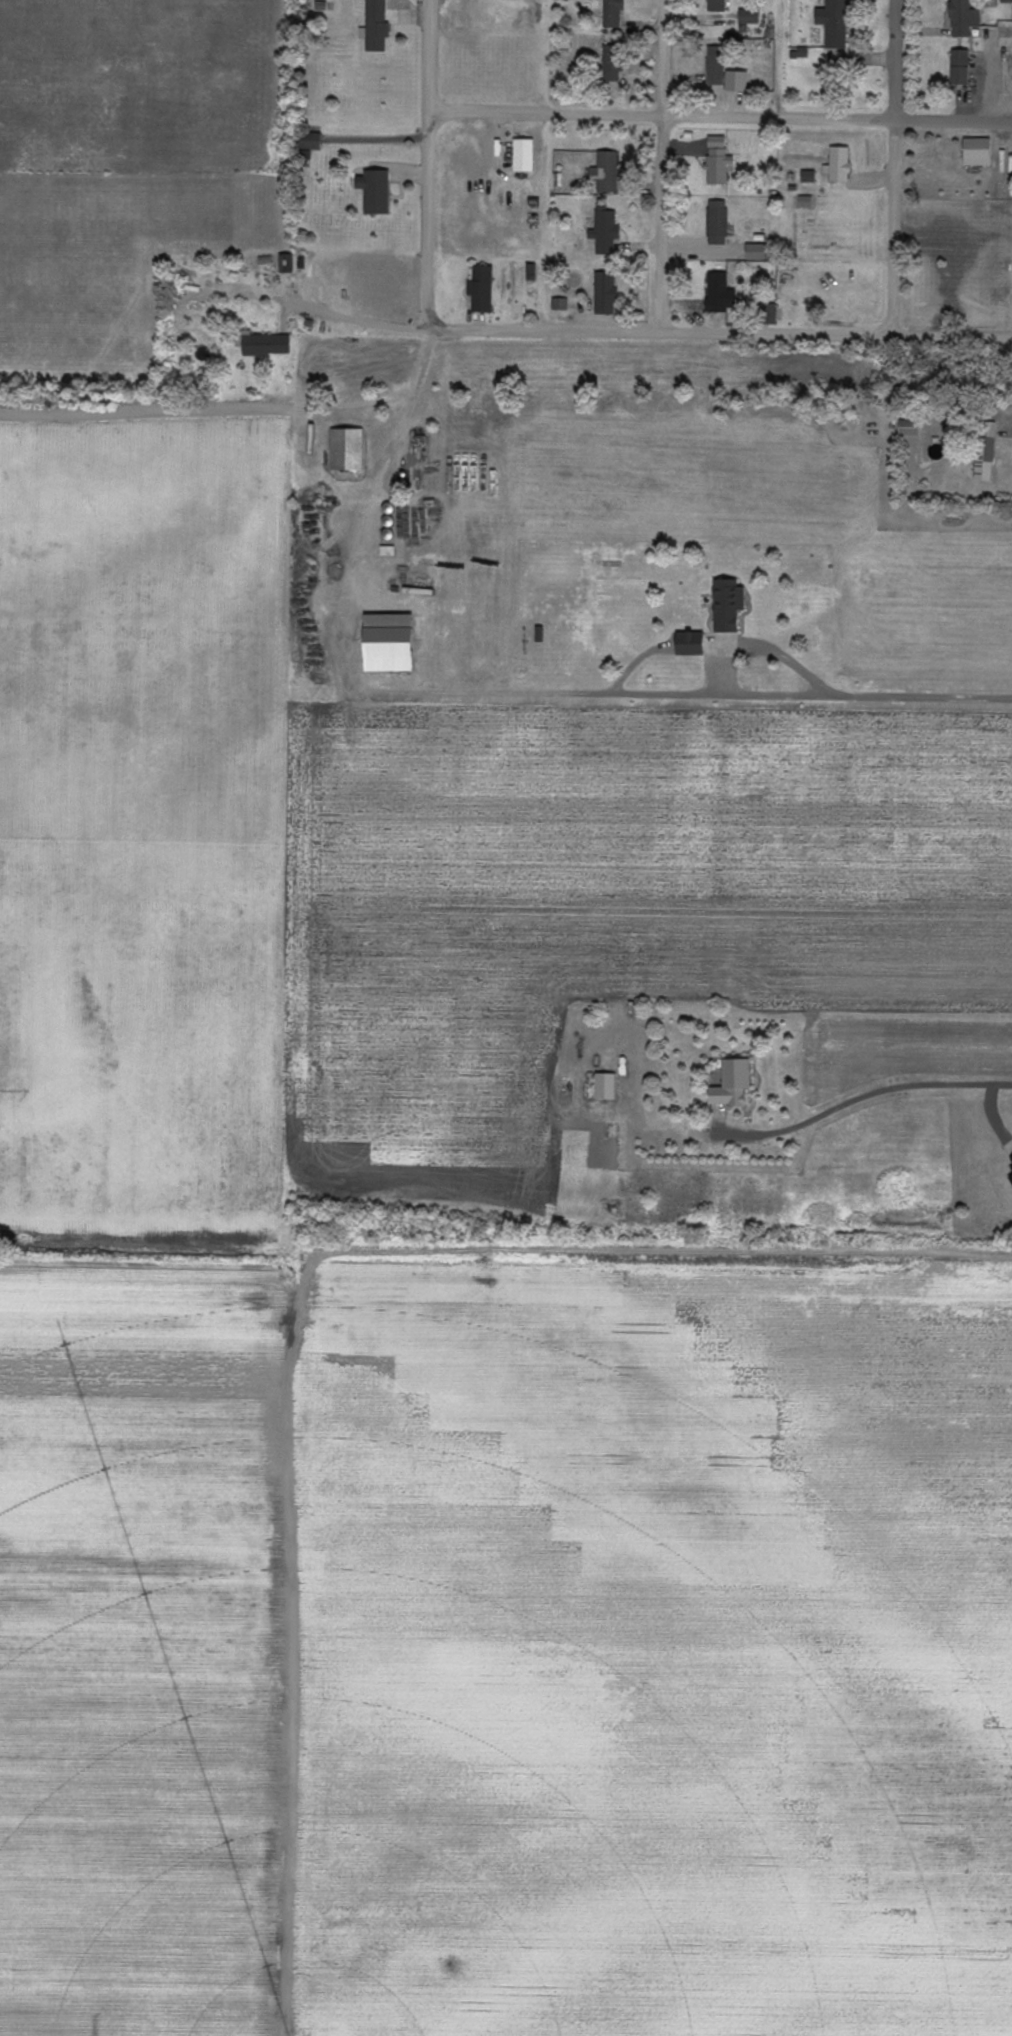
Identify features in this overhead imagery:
building: (1006, 0)
building: (716, 5)
building: (612, 13)
building: (748, 16)
building: (962, 17)
building: (833, 22)
building: (374, 26)
building: (610, 64)
building: (715, 65)
building: (959, 66)
building: (736, 80)
road: (720, 117)
building: (309, 140)
building: (976, 151)
building: (523, 155)
building: (718, 160)
building: (837, 164)
road: (429, 165)
road: (664, 166)
road: (896, 167)
building: (606, 171)
building: (808, 176)
building: (374, 191)
building: (805, 201)
building: (716, 222)
building: (604, 229)
building: (755, 251)
building: (285, 263)
building: (481, 289)
building: (605, 293)
building: (718, 293)
building: (559, 303)
building: (767, 313)
road: (638, 333)
building: (262, 343)
road: (506, 425)
building: (908, 427)
building: (346, 449)
building: (985, 451)
building: (388, 528)
road: (282, 547)
road: (858, 599)
building: (727, 605)
building: (386, 643)
building: (688, 644)
building: (731, 1082)
building: (605, 1085)
road: (808, 1124)
road: (308, 1296)

